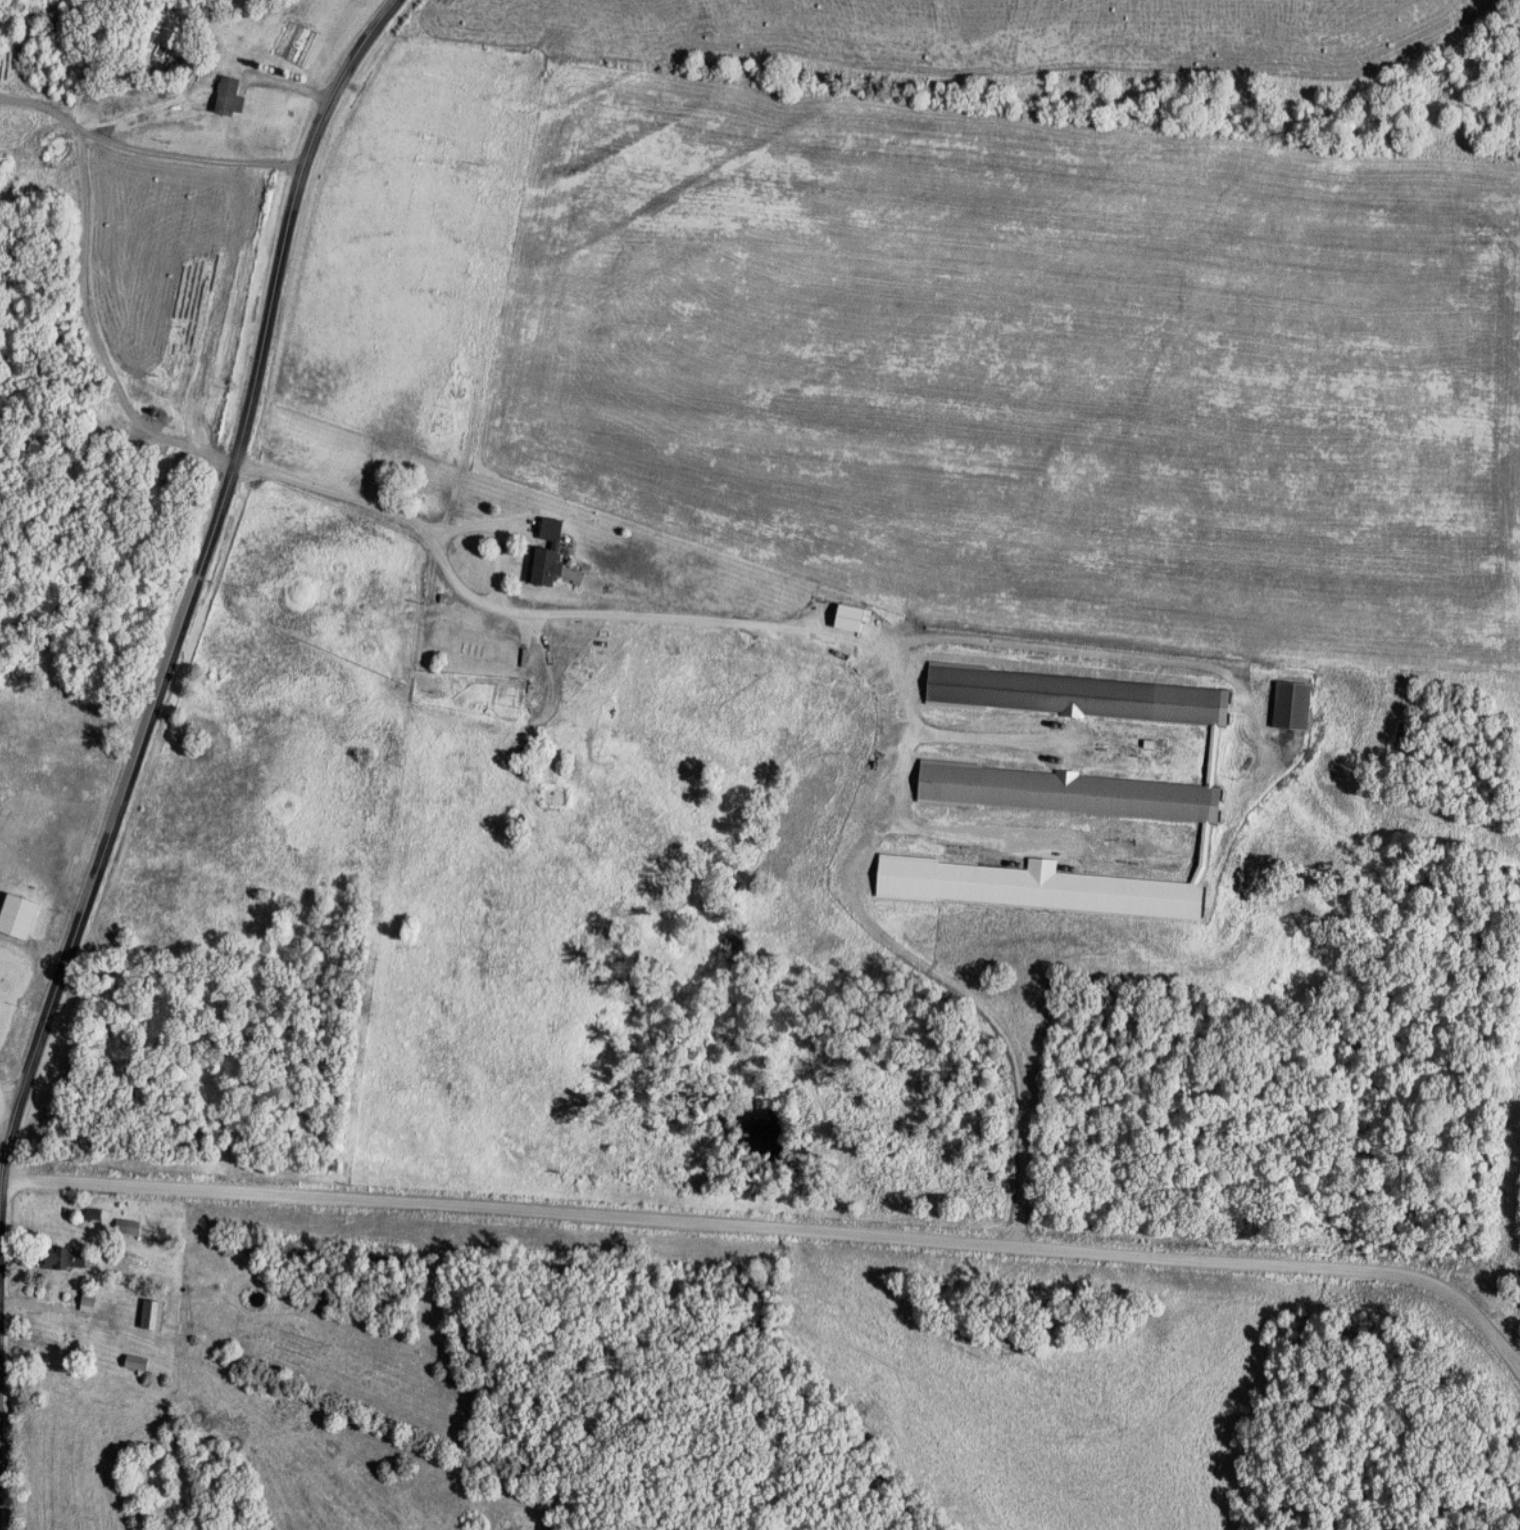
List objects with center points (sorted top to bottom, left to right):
building: (233, 97)
road: (85, 293)
road: (502, 531)
building: (554, 552)
road: (193, 587)
road: (625, 615)
building: (538, 694)
building: (1296, 704)
building: (1066, 795)
building: (22, 916)
road: (7, 1105)
road: (779, 1223)
building: (66, 1258)
building: (91, 1297)
building: (156, 1314)
building: (140, 1363)

